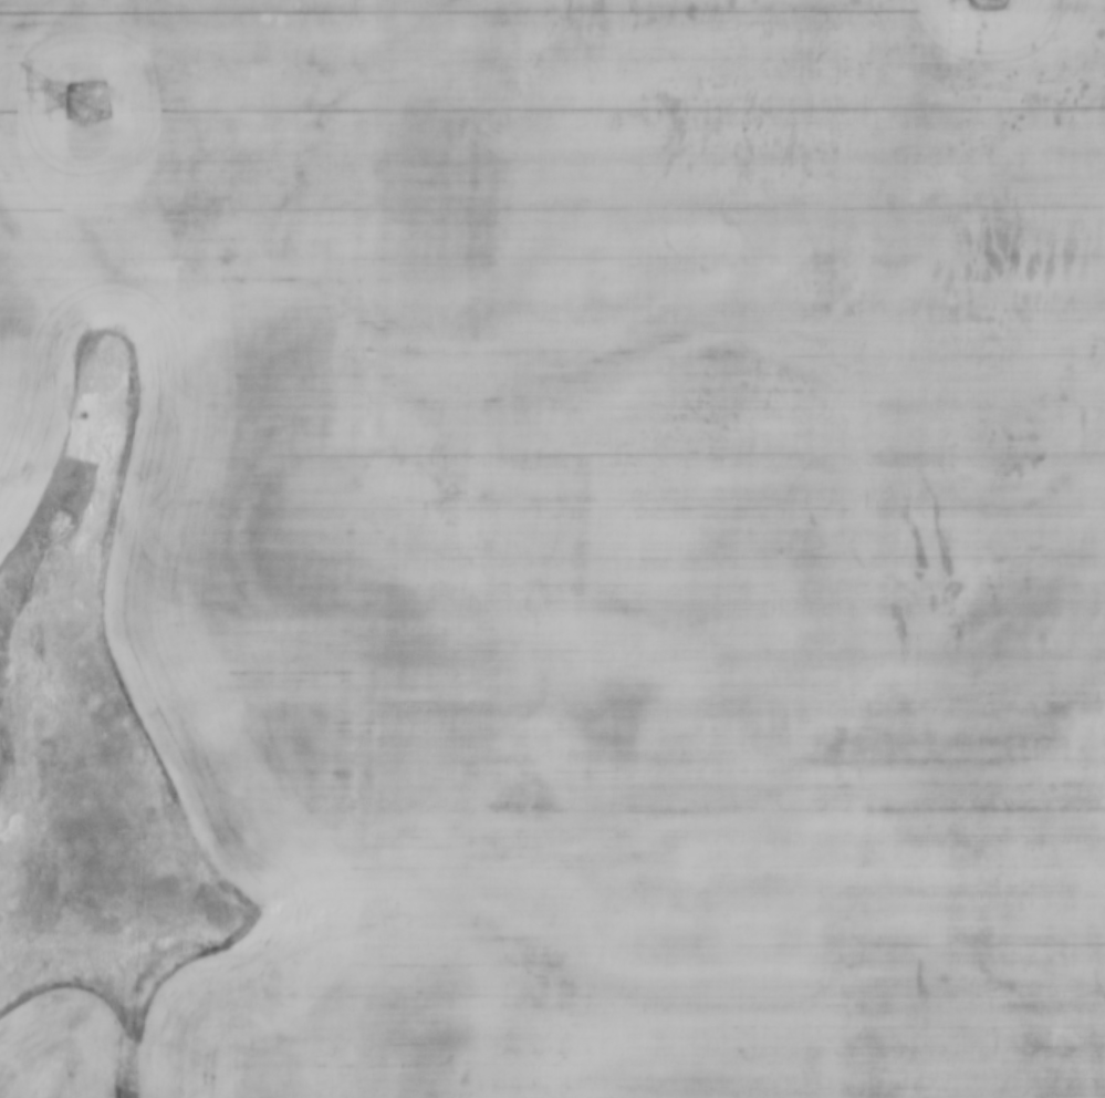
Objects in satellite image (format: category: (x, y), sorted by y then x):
power tower: (91, 105)

